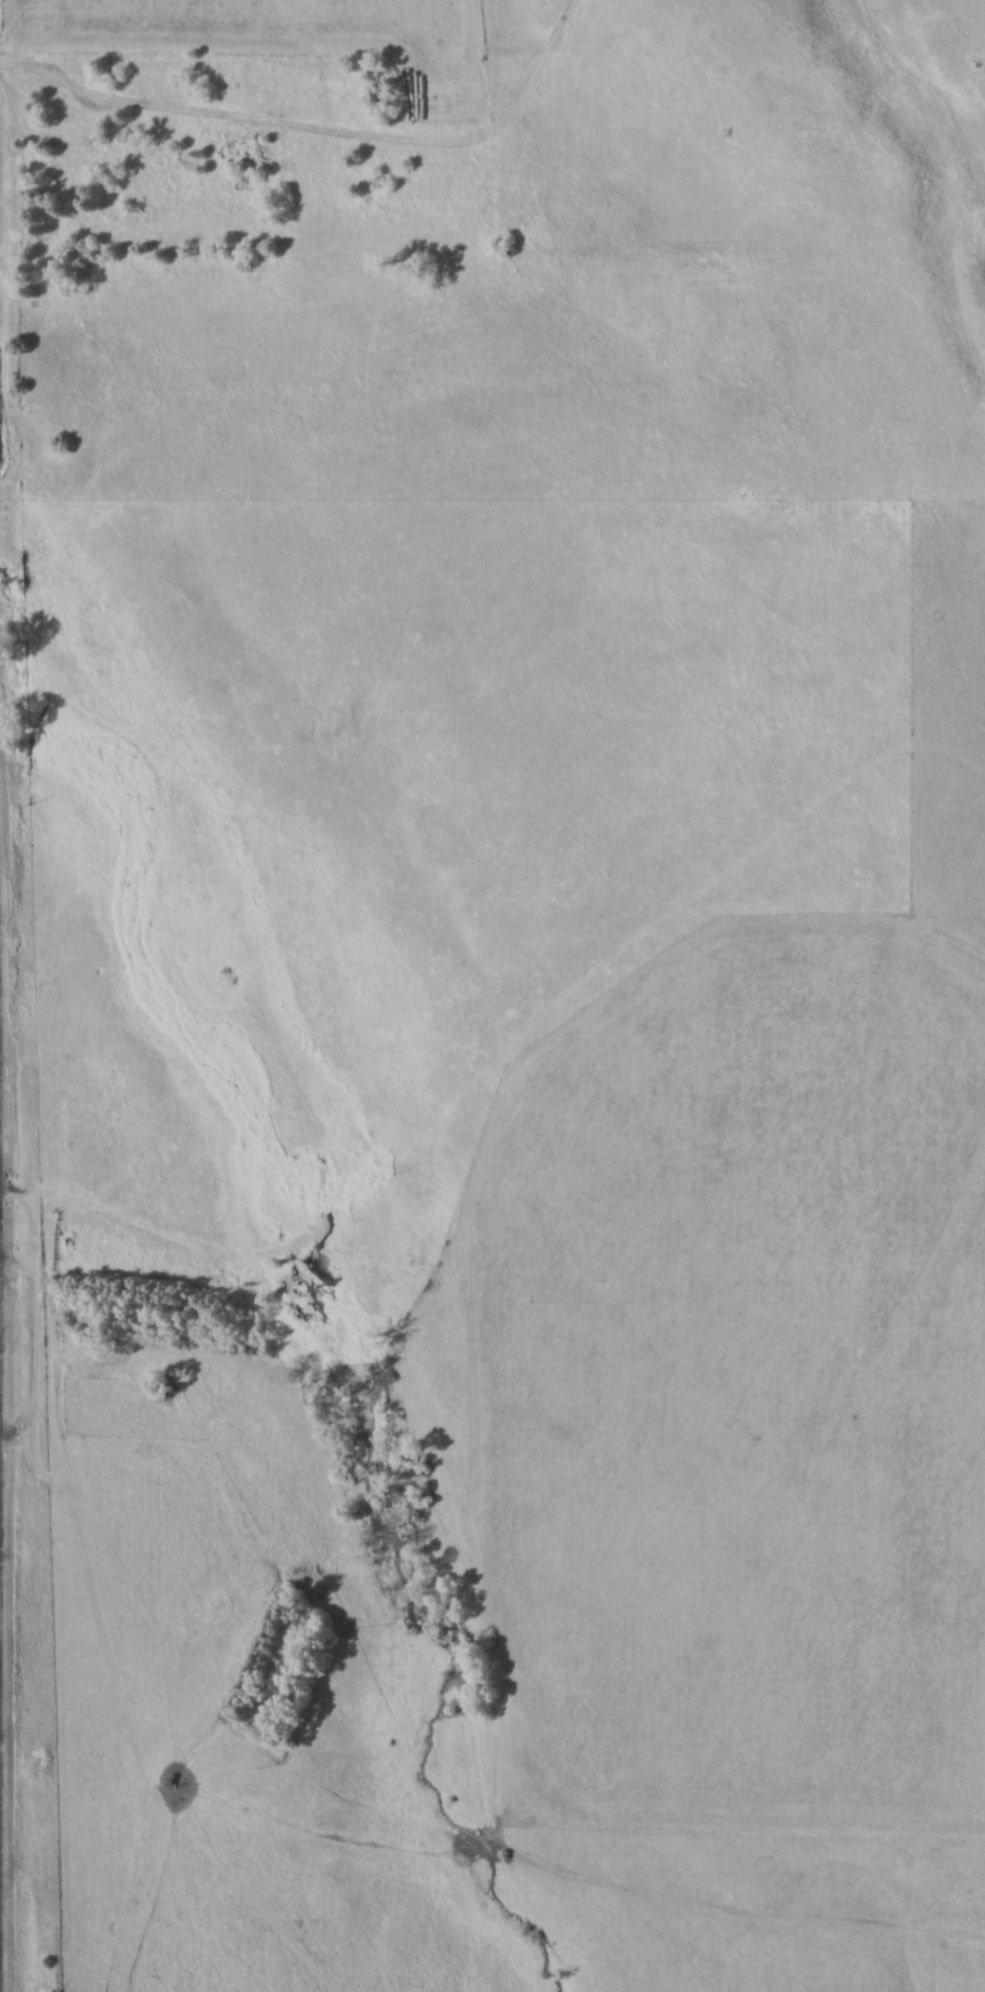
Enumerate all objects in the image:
road: (302, 52)

